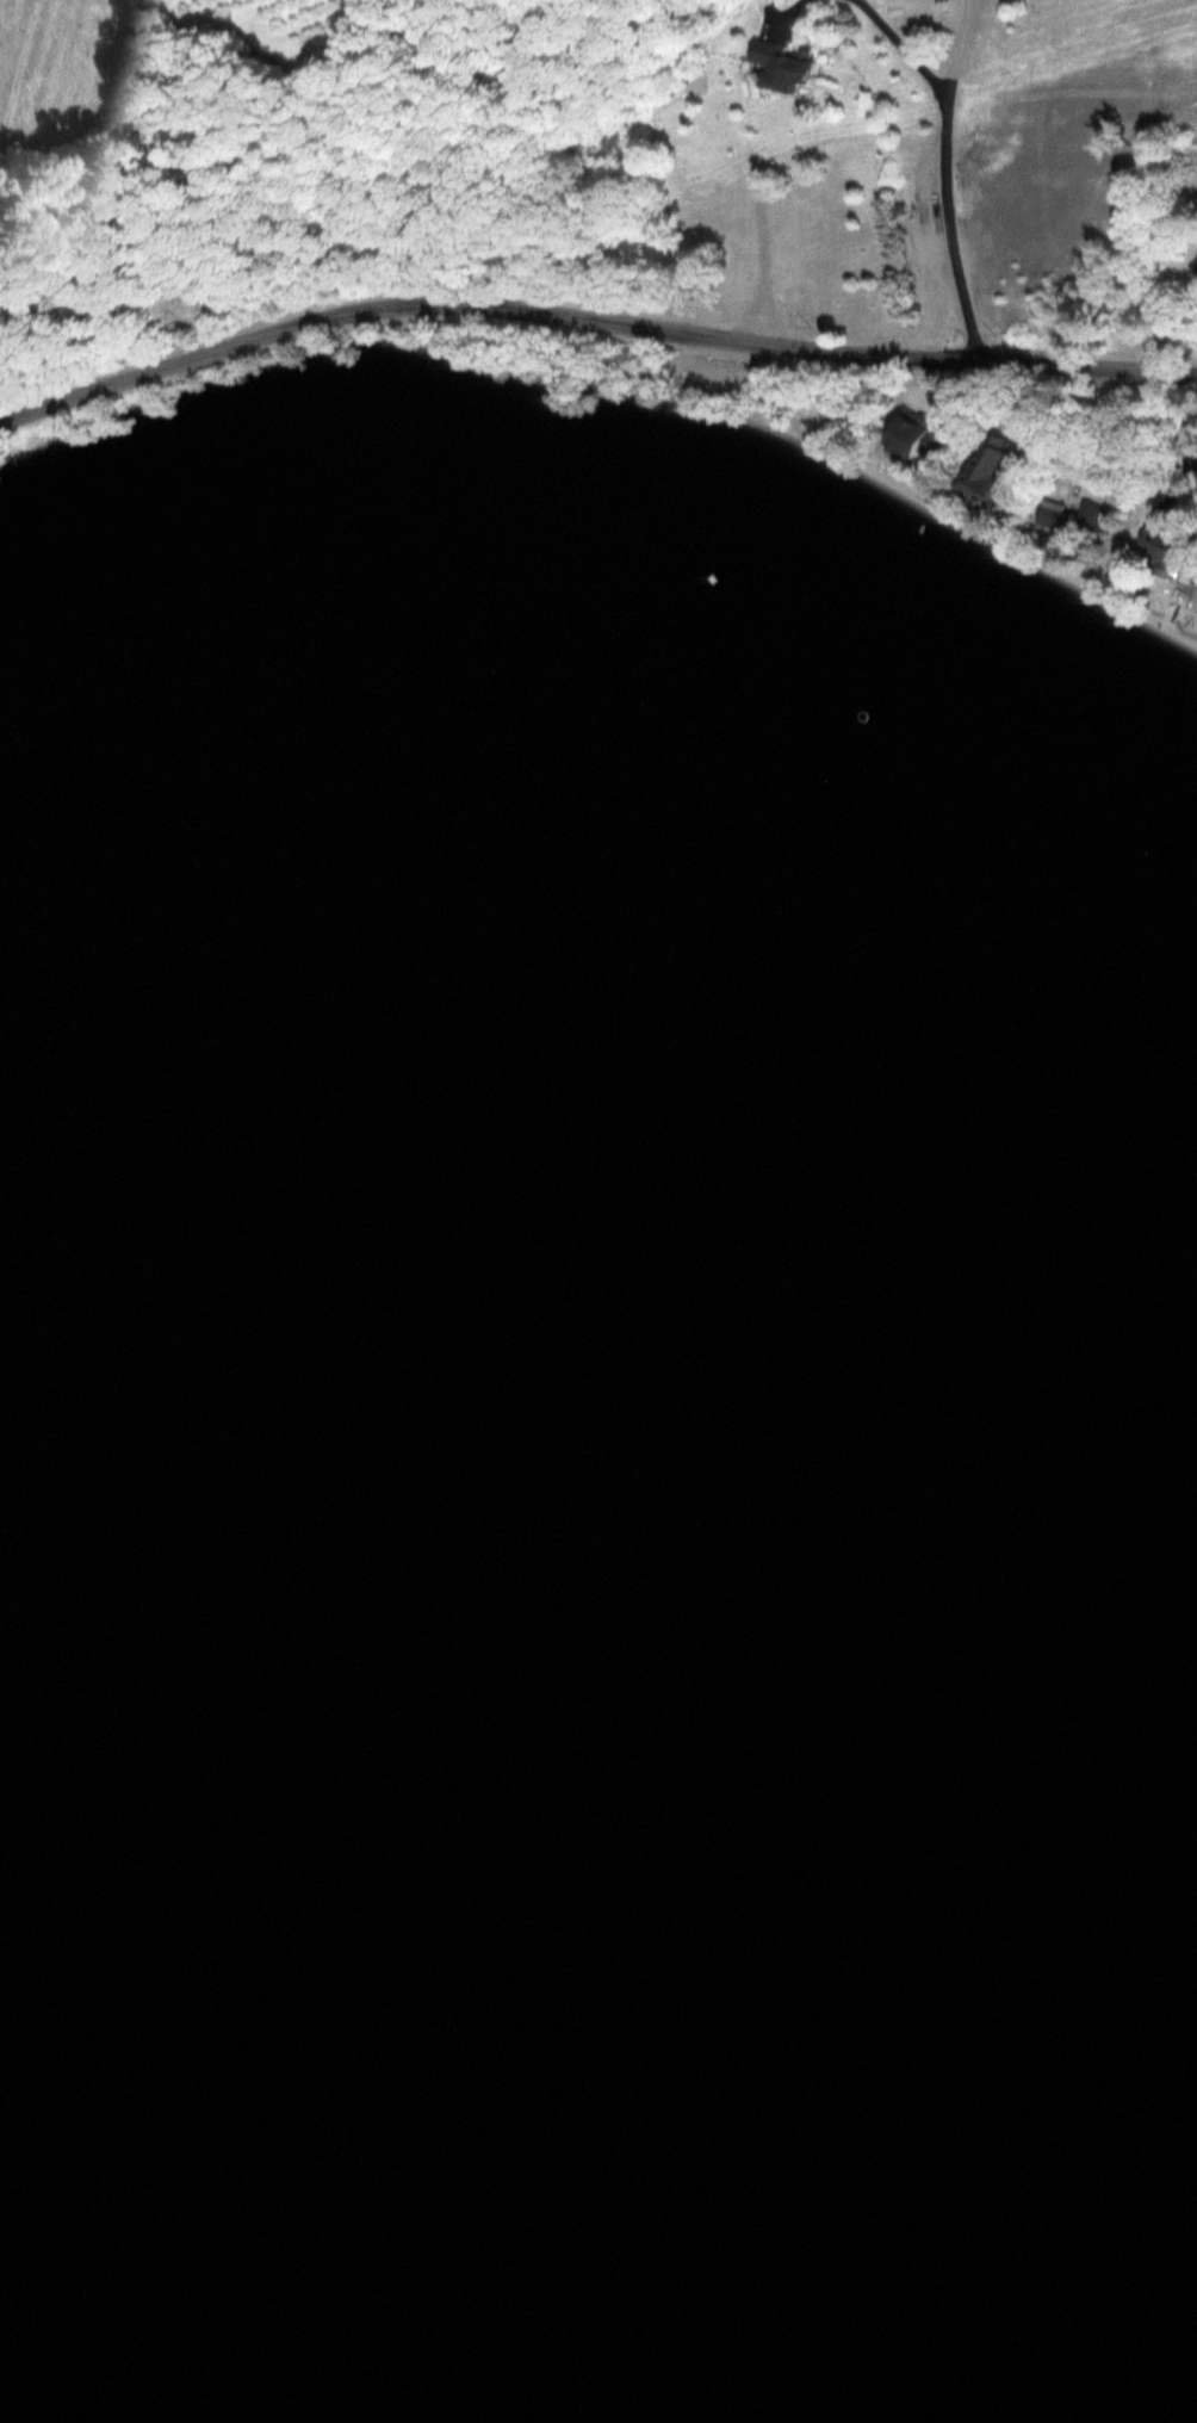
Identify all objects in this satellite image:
building: (776, 64)
building: (686, 81)
road: (950, 185)
building: (1195, 267)
road: (590, 317)
building: (912, 435)
building: (986, 471)
building: (1052, 514)
building: (1158, 541)

